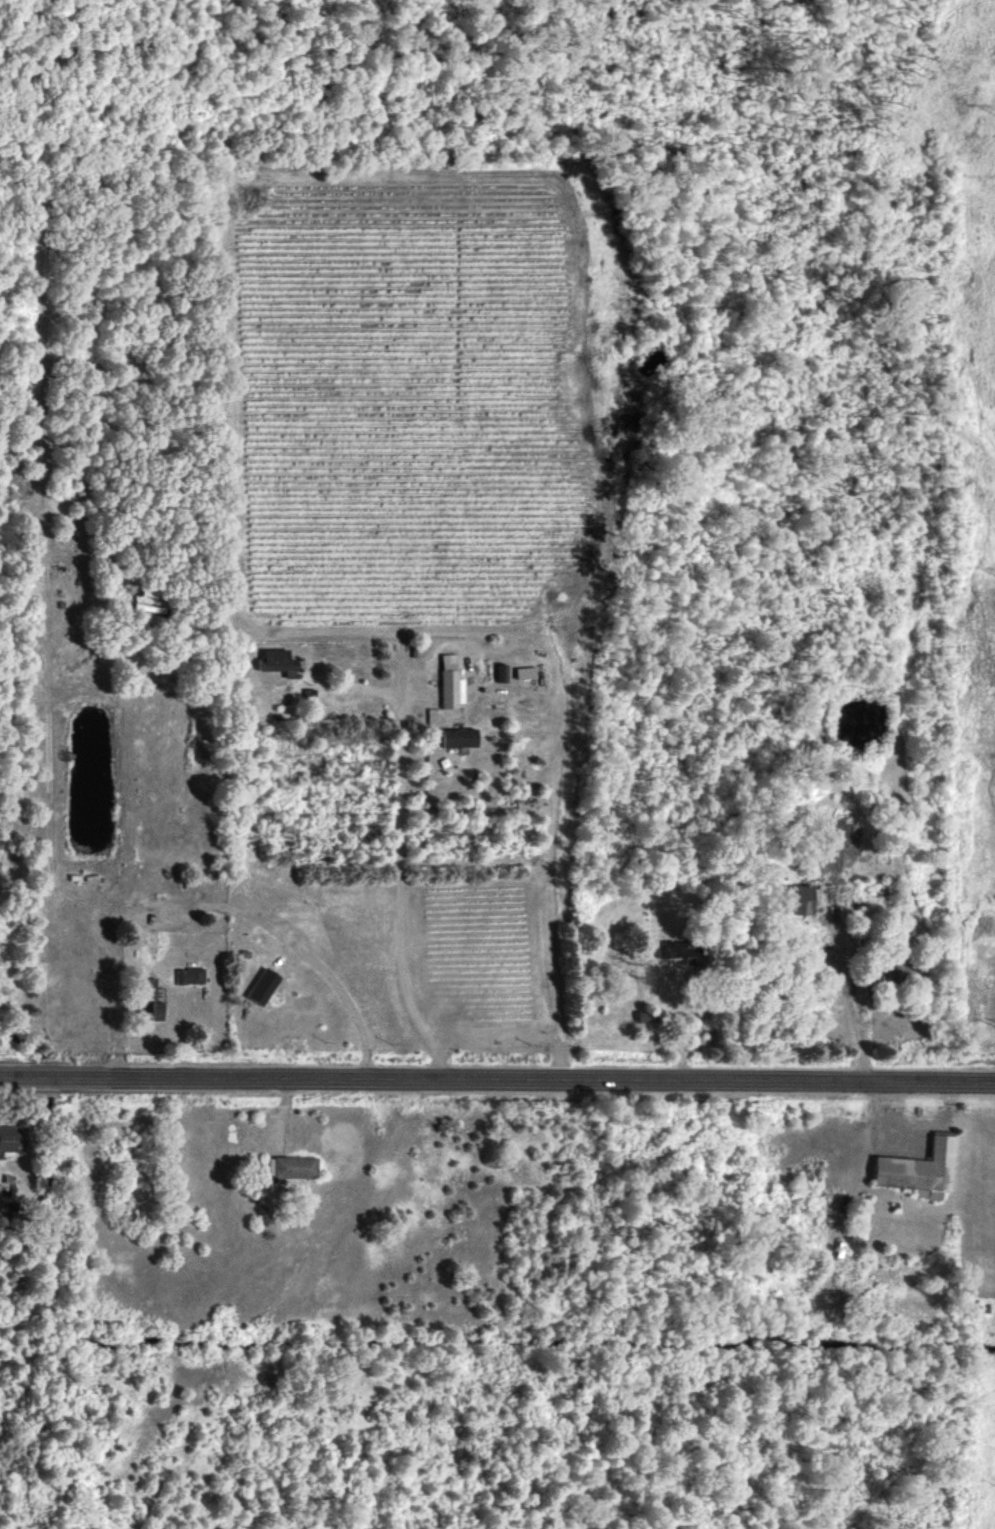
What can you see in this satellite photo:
power tower: (989, 115)
building: (276, 661)
building: (450, 682)
building: (458, 737)
road: (407, 868)
building: (797, 899)
building: (678, 949)
building: (189, 975)
building: (262, 986)
building: (150, 998)
road: (786, 999)
building: (647, 1016)
road: (497, 1079)
building: (11, 1138)
building: (292, 1166)
building: (918, 1168)
building: (862, 1218)

